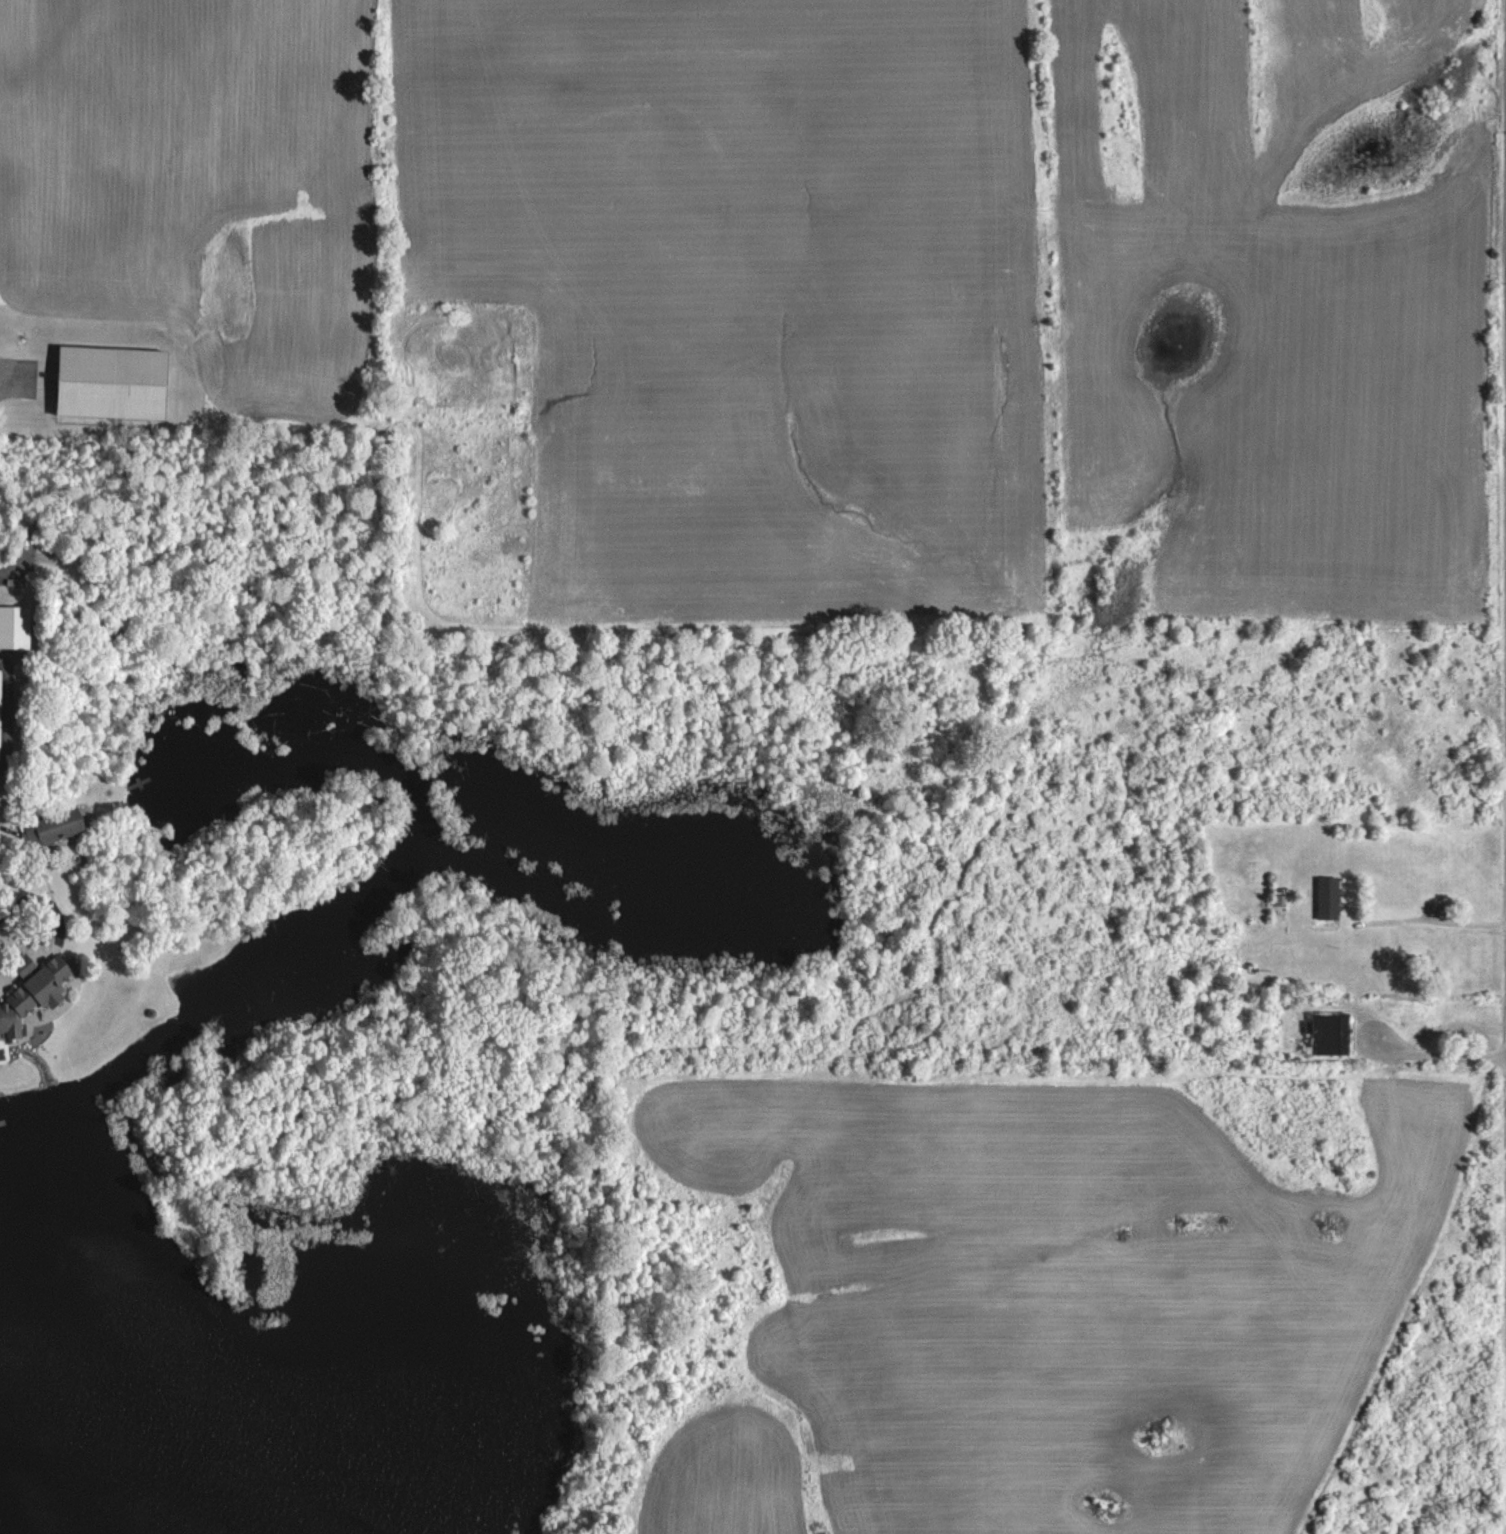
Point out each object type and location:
building: (113, 381)
building: (15, 626)
building: (1, 713)
building: (58, 826)
building: (1328, 898)
road: (1432, 923)
building: (35, 997)
building: (1330, 1034)
road: (1433, 1059)

